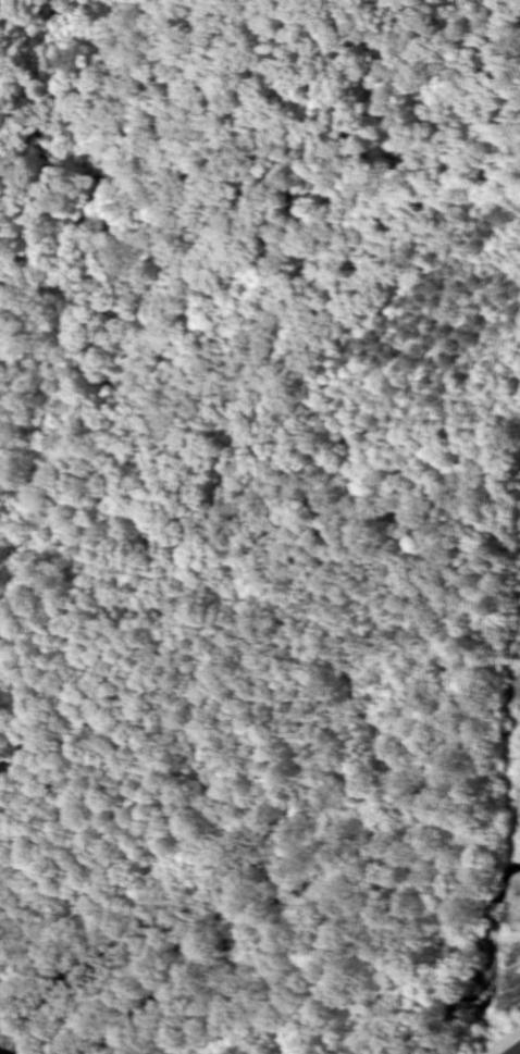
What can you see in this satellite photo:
park: (158, 260)
road: (518, 1052)

